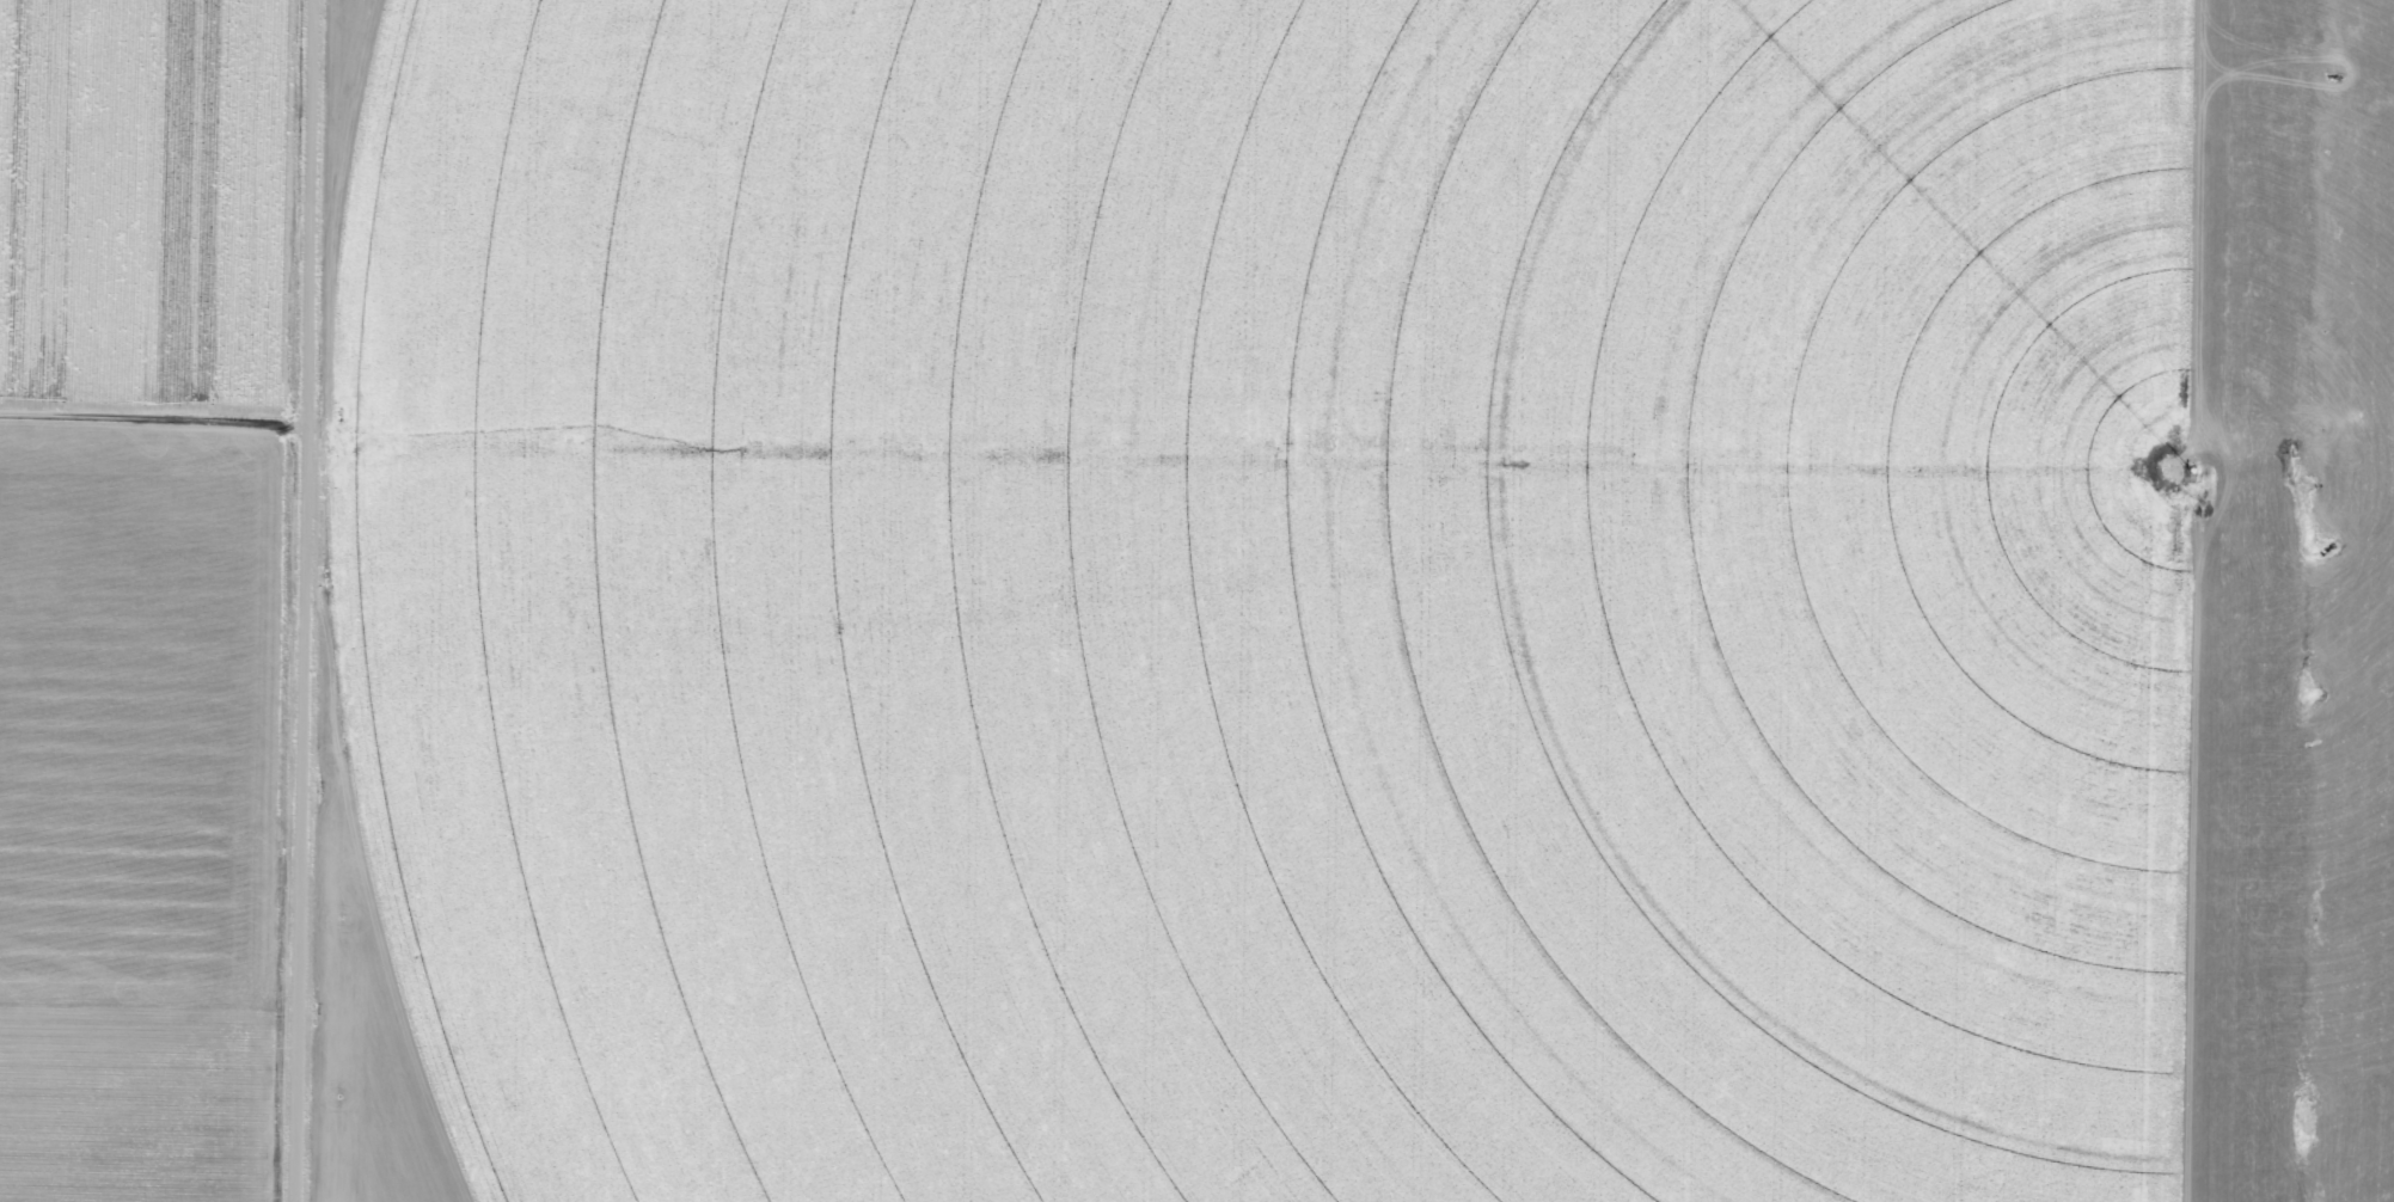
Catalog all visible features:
road: (308, 600)

